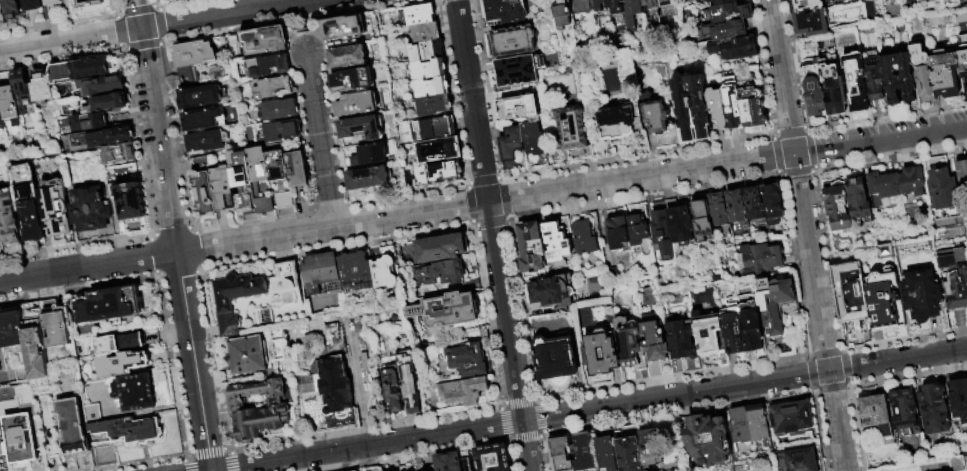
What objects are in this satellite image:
building: (664, 1)
building: (610, 3)
building: (647, 3)
building: (55, 4)
building: (94, 5)
building: (33, 6)
building: (596, 6)
building: (805, 6)
building: (581, 7)
building: (12, 10)
building: (729, 10)
building: (506, 11)
building: (418, 15)
building: (560, 15)
building: (631, 15)
building: (2, 16)
road: (294, 16)
building: (811, 23)
road: (158, 25)
building: (344, 28)
building: (725, 31)
building: (423, 33)
building: (265, 41)
road: (300, 41)
building: (512, 42)
building: (962, 42)
building: (734, 50)
building: (424, 52)
building: (347, 57)
building: (192, 61)
building: (963, 65)
building: (268, 67)
building: (427, 70)
building: (83, 71)
building: (517, 71)
building: (922, 73)
building: (945, 75)
building: (361, 78)
building: (873, 78)
building: (898, 78)
building: (855, 81)
building: (103, 87)
building: (273, 88)
building: (429, 88)
building: (812, 88)
building: (24, 89)
building: (43, 89)
building: (832, 90)
building: (199, 97)
building: (356, 104)
building: (732, 104)
building: (108, 105)
building: (10, 106)
building: (433, 106)
building: (518, 108)
building: (752, 108)
building: (278, 109)
building: (699, 109)
building: (716, 110)
building: (683, 111)
building: (1, 117)
building: (656, 118)
building: (203, 119)
building: (617, 123)
building: (90, 125)
building: (360, 128)
building: (433, 129)
building: (281, 131)
building: (573, 134)
road: (320, 139)
building: (533, 140)
building: (103, 141)
building: (212, 141)
building: (511, 147)
building: (440, 151)
building: (370, 155)
building: (119, 156)
building: (276, 163)
building: (296, 165)
building: (443, 172)
building: (961, 172)
building: (367, 179)
building: (255, 182)
building: (911, 182)
building: (939, 185)
building: (201, 187)
building: (881, 188)
building: (222, 189)
building: (858, 201)
road: (483, 202)
building: (131, 203)
building: (772, 204)
building: (754, 205)
building: (30, 206)
building: (835, 206)
building: (736, 207)
building: (90, 211)
building: (719, 212)
building: (59, 214)
building: (9, 219)
building: (701, 221)
building: (680, 226)
building: (637, 229)
building: (585, 233)
building: (0, 234)
building: (618, 234)
road: (174, 235)
road: (493, 235)
building: (661, 235)
road: (808, 235)
building: (557, 240)
building: (531, 247)
building: (439, 249)
building: (758, 259)
building: (354, 272)
building: (383, 272)
building: (440, 273)
building: (320, 276)
building: (953, 278)
building: (551, 291)
building: (849, 292)
building: (921, 296)
building: (882, 300)
building: (110, 306)
building: (224, 306)
building: (446, 308)
building: (779, 308)
building: (266, 319)
building: (750, 323)
building: (57, 327)
building: (732, 327)
building: (12, 329)
building: (709, 334)
building: (653, 337)
building: (1, 339)
building: (682, 339)
building: (629, 341)
building: (119, 344)
building: (600, 353)
building: (37, 354)
building: (248, 354)
building: (555, 358)
building: (467, 360)
building: (121, 365)
road: (4, 378)
building: (408, 380)
building: (330, 385)
building: (391, 385)
building: (462, 391)
building: (6, 393)
building: (134, 393)
building: (959, 400)
building: (933, 408)
building: (260, 409)
road: (587, 410)
building: (874, 411)
building: (904, 412)
building: (790, 417)
building: (74, 428)
building: (748, 430)
building: (128, 431)
building: (21, 440)
building: (706, 440)
building: (649, 446)
building: (627, 449)
building: (560, 452)
building: (582, 453)
building: (605, 453)
building: (3, 455)
building: (492, 458)
building: (800, 459)
building: (452, 461)
building: (355, 470)
building: (395, 470)

